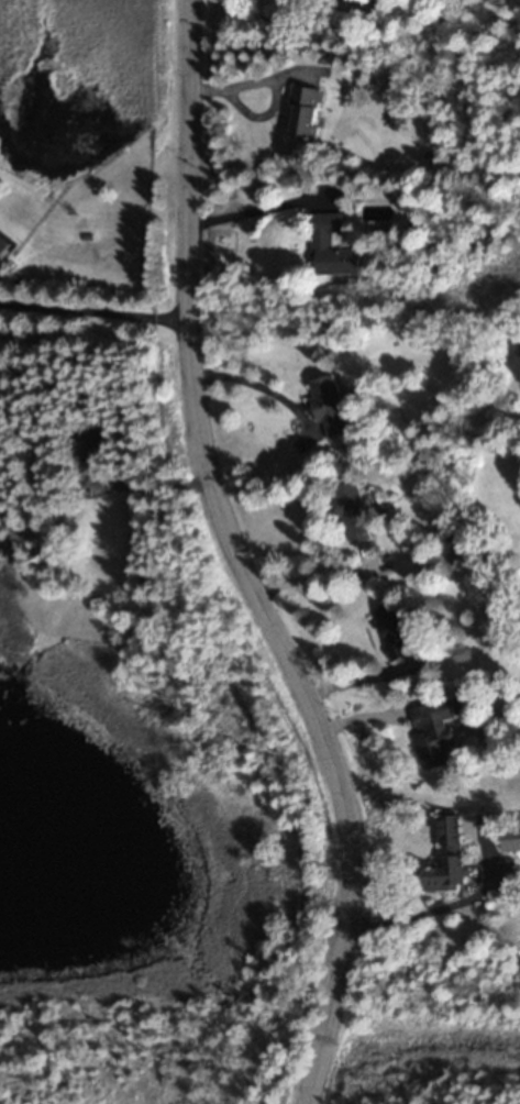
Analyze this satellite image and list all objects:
building: (306, 114)
road: (254, 212)
building: (323, 242)
building: (3, 247)
road: (95, 311)
road: (262, 384)
building: (331, 408)
building: (355, 516)
road: (245, 561)
building: (395, 637)
building: (434, 732)
building: (512, 839)
building: (452, 857)
road: (439, 910)

